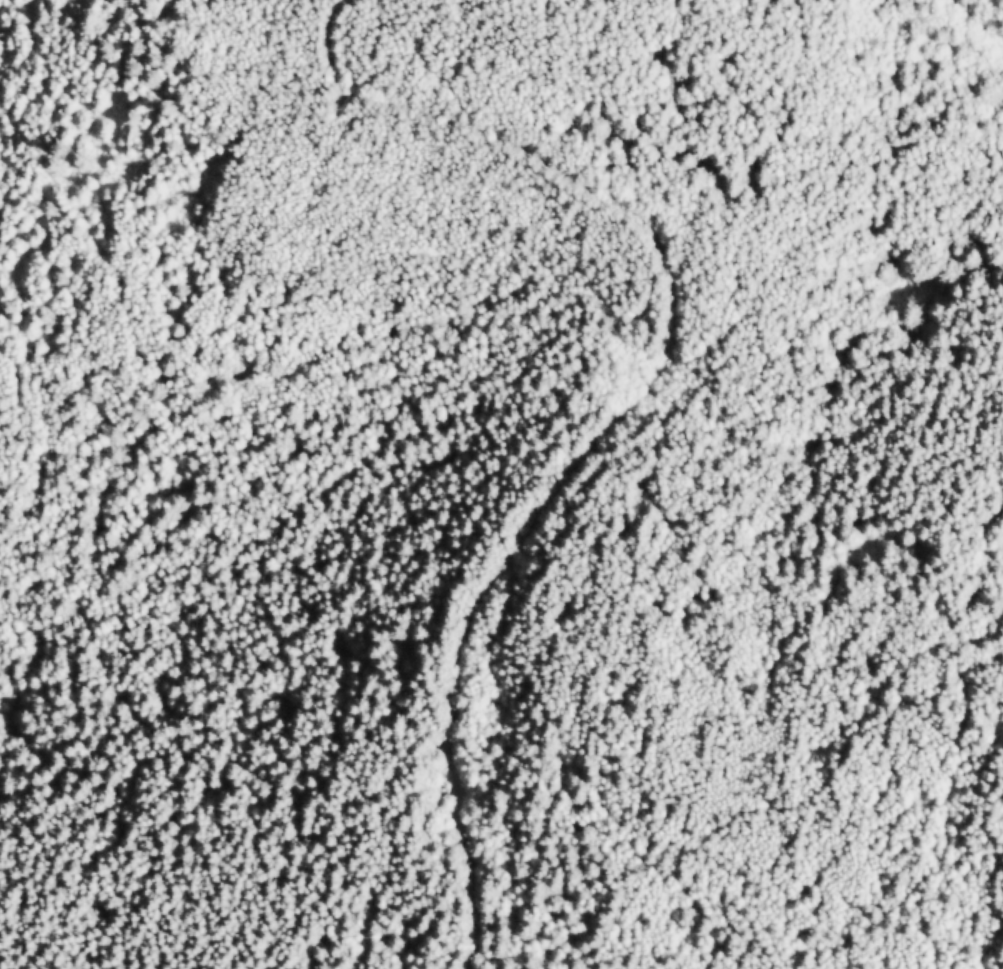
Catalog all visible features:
road: (984, 16)
road: (633, 397)
building: (242, 955)

